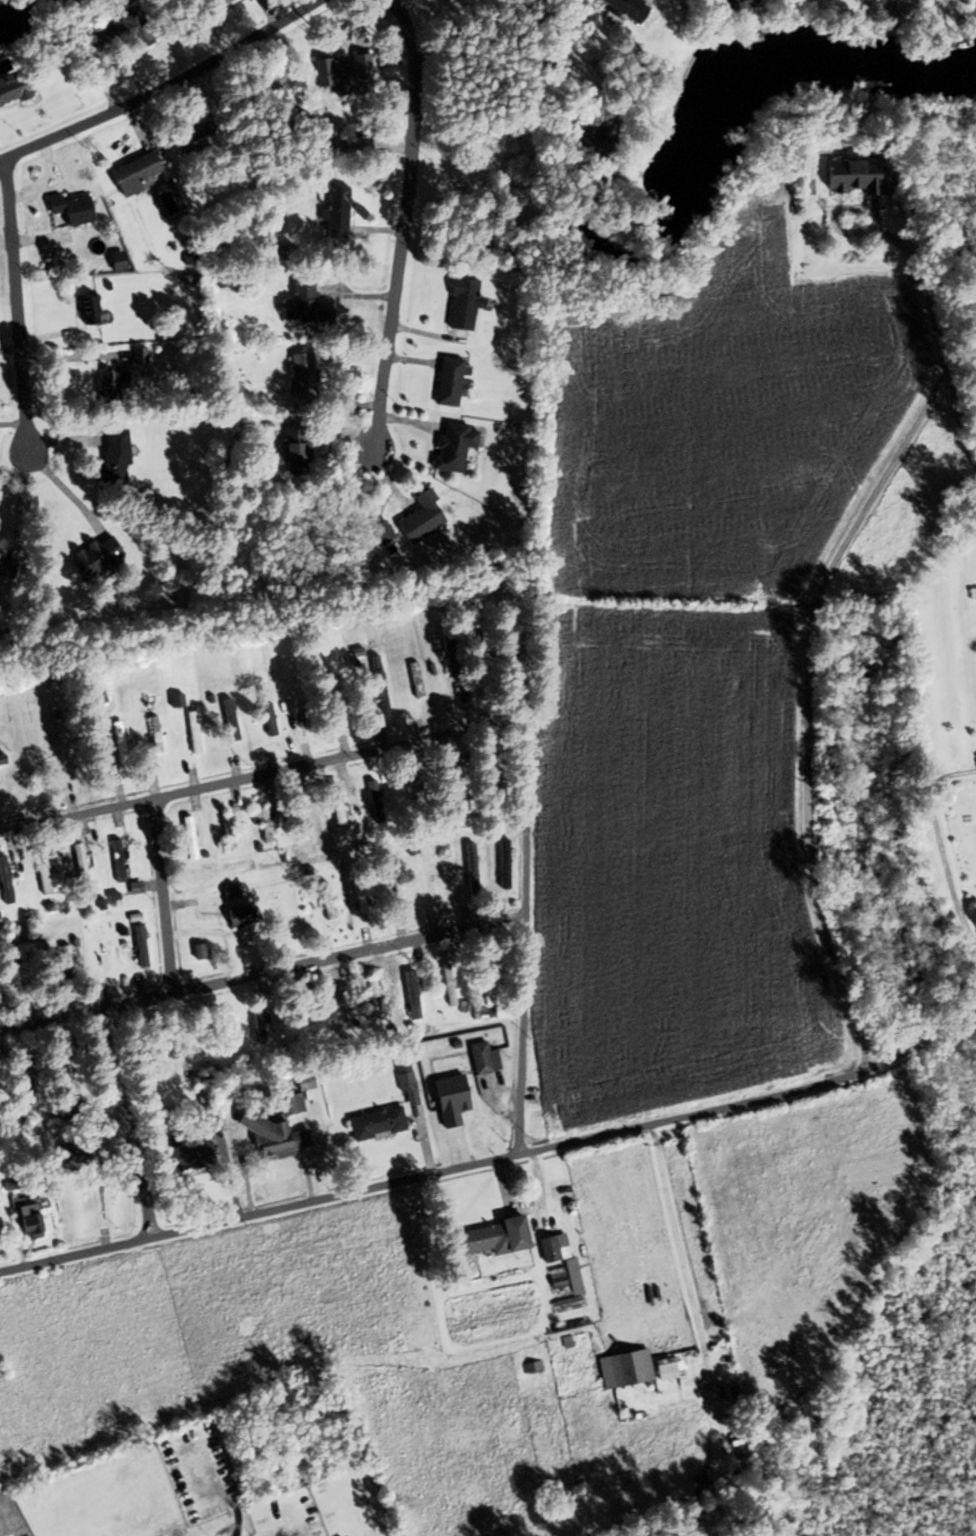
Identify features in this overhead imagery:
building: (212, 3)
building: (734, 4)
building: (623, 8)
building: (133, 28)
building: (100, 44)
building: (340, 73)
road: (163, 87)
building: (12, 89)
building: (192, 139)
building: (594, 142)
building: (131, 174)
building: (849, 176)
building: (70, 209)
building: (335, 210)
road: (404, 226)
building: (281, 251)
building: (114, 262)
building: (461, 304)
road: (17, 305)
building: (307, 308)
building: (87, 309)
building: (138, 355)
building: (302, 376)
building: (447, 382)
building: (110, 385)
building: (451, 446)
building: (293, 451)
building: (112, 456)
building: (418, 518)
building: (380, 532)
building: (94, 557)
building: (6, 566)
road: (804, 635)
building: (450, 650)
building: (414, 681)
building: (376, 684)
building: (341, 701)
building: (266, 719)
building: (373, 722)
road: (476, 724)
building: (231, 727)
building: (192, 733)
building: (153, 735)
building: (117, 740)
building: (43, 752)
building: (2, 761)
building: (490, 784)
building: (445, 789)
building: (373, 801)
building: (336, 814)
building: (299, 820)
building: (225, 832)
building: (187, 838)
road: (936, 845)
building: (116, 862)
building: (503, 865)
building: (470, 867)
building: (40, 874)
building: (434, 879)
building: (4, 883)
building: (397, 887)
building: (133, 888)
building: (228, 894)
road: (163, 896)
building: (360, 896)
building: (236, 917)
building: (138, 949)
building: (199, 952)
building: (102, 955)
building: (64, 962)
road: (260, 974)
building: (488, 985)
building: (447, 986)
building: (410, 995)
building: (336, 1000)
building: (373, 1000)
building: (301, 1011)
building: (216, 1019)
building: (258, 1024)
building: (151, 1059)
building: (483, 1060)
building: (66, 1074)
building: (28, 1078)
building: (302, 1082)
building: (406, 1085)
building: (458, 1101)
building: (289, 1104)
building: (204, 1116)
road: (125, 1124)
building: (374, 1124)
building: (275, 1138)
building: (189, 1157)
building: (73, 1158)
road: (494, 1160)
building: (25, 1214)
building: (485, 1239)
building: (558, 1258)
building: (663, 1366)
building: (623, 1370)
building: (735, 1470)

